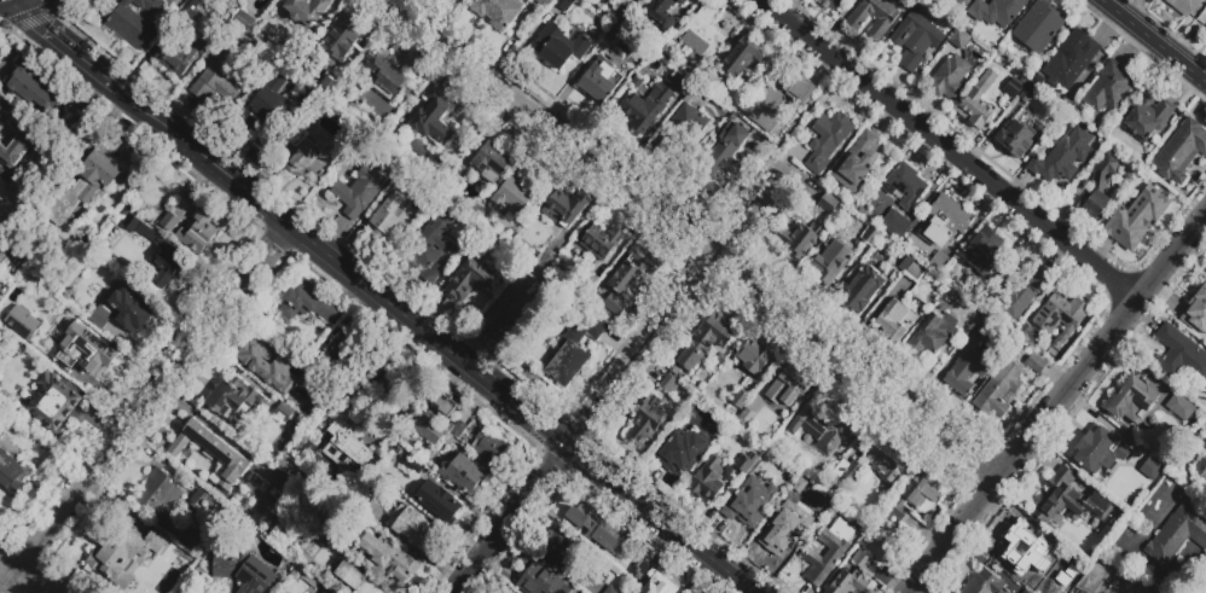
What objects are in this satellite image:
building: (168, 0)
building: (682, 1)
building: (546, 2)
building: (563, 4)
building: (829, 4)
building: (1183, 6)
building: (307, 10)
building: (191, 11)
building: (995, 11)
building: (498, 12)
building: (621, 16)
building: (656, 16)
road: (29, 17)
building: (133, 21)
building: (854, 21)
building: (247, 25)
building: (1037, 25)
building: (1205, 31)
building: (702, 33)
building: (1205, 34)
building: (340, 36)
building: (618, 36)
road: (54, 39)
building: (959, 39)
building: (915, 41)
road: (1154, 41)
building: (558, 46)
building: (659, 46)
building: (677, 56)
building: (174, 58)
building: (742, 59)
building: (1071, 59)
road: (143, 60)
building: (384, 72)
building: (218, 79)
building: (947, 80)
building: (598, 81)
building: (713, 81)
building: (679, 83)
building: (1108, 87)
building: (34, 88)
building: (1013, 88)
building: (327, 89)
building: (1026, 93)
building: (778, 97)
road: (88, 98)
building: (976, 101)
building: (644, 107)
building: (265, 109)
road: (179, 114)
building: (434, 118)
building: (1147, 118)
road: (109, 120)
road: (799, 122)
building: (682, 129)
building: (62, 130)
building: (13, 138)
building: (1015, 138)
building: (828, 139)
road: (950, 151)
building: (1182, 151)
building: (1062, 156)
building: (718, 158)
building: (307, 161)
building: (491, 161)
building: (6, 162)
road: (243, 164)
building: (857, 164)
building: (5, 176)
road: (259, 179)
road: (202, 180)
building: (86, 186)
building: (908, 186)
building: (1097, 187)
building: (360, 191)
building: (511, 196)
building: (827, 203)
building: (563, 208)
building: (1141, 213)
building: (390, 217)
building: (170, 222)
building: (893, 222)
building: (944, 222)
building: (198, 232)
road: (332, 234)
building: (870, 236)
building: (800, 239)
road: (348, 240)
road: (696, 240)
building: (599, 242)
building: (430, 248)
building: (982, 252)
building: (169, 257)
building: (546, 261)
building: (829, 262)
building: (939, 262)
building: (911, 269)
building: (471, 277)
building: (631, 281)
building: (588, 285)
building: (0, 286)
road: (348, 287)
building: (860, 290)
building: (0, 291)
building: (1020, 293)
building: (980, 295)
road: (361, 302)
building: (307, 306)
building: (514, 306)
building: (131, 308)
building: (1195, 310)
road: (434, 313)
building: (1060, 314)
road: (399, 318)
building: (100, 319)
building: (894, 320)
building: (21, 324)
building: (64, 325)
building: (990, 330)
road: (429, 335)
building: (930, 335)
building: (1026, 336)
building: (708, 339)
building: (343, 345)
road: (472, 345)
building: (574, 349)
building: (94, 351)
building: (1181, 354)
building: (754, 356)
building: (1036, 362)
building: (268, 368)
road: (435, 368)
building: (964, 372)
building: (309, 373)
building: (375, 373)
road: (619, 383)
building: (668, 384)
road: (465, 386)
building: (788, 386)
building: (998, 390)
road: (477, 399)
building: (233, 400)
building: (12, 401)
building: (1132, 401)
building: (53, 402)
building: (736, 402)
building: (442, 403)
road: (1059, 407)
building: (1179, 407)
road: (145, 408)
building: (282, 414)
building: (746, 417)
building: (647, 420)
building: (823, 425)
building: (457, 428)
building: (428, 431)
building: (231, 443)
building: (346, 446)
building: (492, 449)
building: (678, 450)
building: (1101, 452)
building: (211, 453)
building: (743, 461)
building: (286, 464)
building: (886, 465)
building: (413, 467)
building: (1201, 469)
building: (1150, 470)
building: (847, 475)
building: (465, 476)
building: (10, 477)
building: (707, 481)
building: (1167, 484)
building: (921, 490)
road: (662, 493)
building: (1068, 499)
building: (439, 500)
building: (747, 502)
building: (205, 505)
building: (167, 506)
building: (366, 508)
building: (898, 512)
building: (330, 517)
road: (692, 521)
building: (297, 522)
building: (781, 523)
building: (411, 527)
building: (593, 528)
building: (1164, 536)
building: (282, 540)
road: (660, 541)
building: (557, 545)
road: (726, 545)
building: (1024, 550)
building: (123, 552)
building: (828, 552)
building: (388, 557)
road: (662, 558)
building: (521, 559)
building: (860, 560)
road: (8, 563)
road: (747, 563)
building: (637, 566)
building: (244, 571)
building: (184, 575)
road: (700, 576)
building: (609, 577)
building: (1091, 579)
building: (356, 580)
building: (543, 580)
road: (33, 581)
building: (847, 582)
building: (984, 583)
building: (319, 587)
building: (661, 587)
building: (190, 588)
building: (308, 591)
road: (807, 591)
building: (1024, 592)

